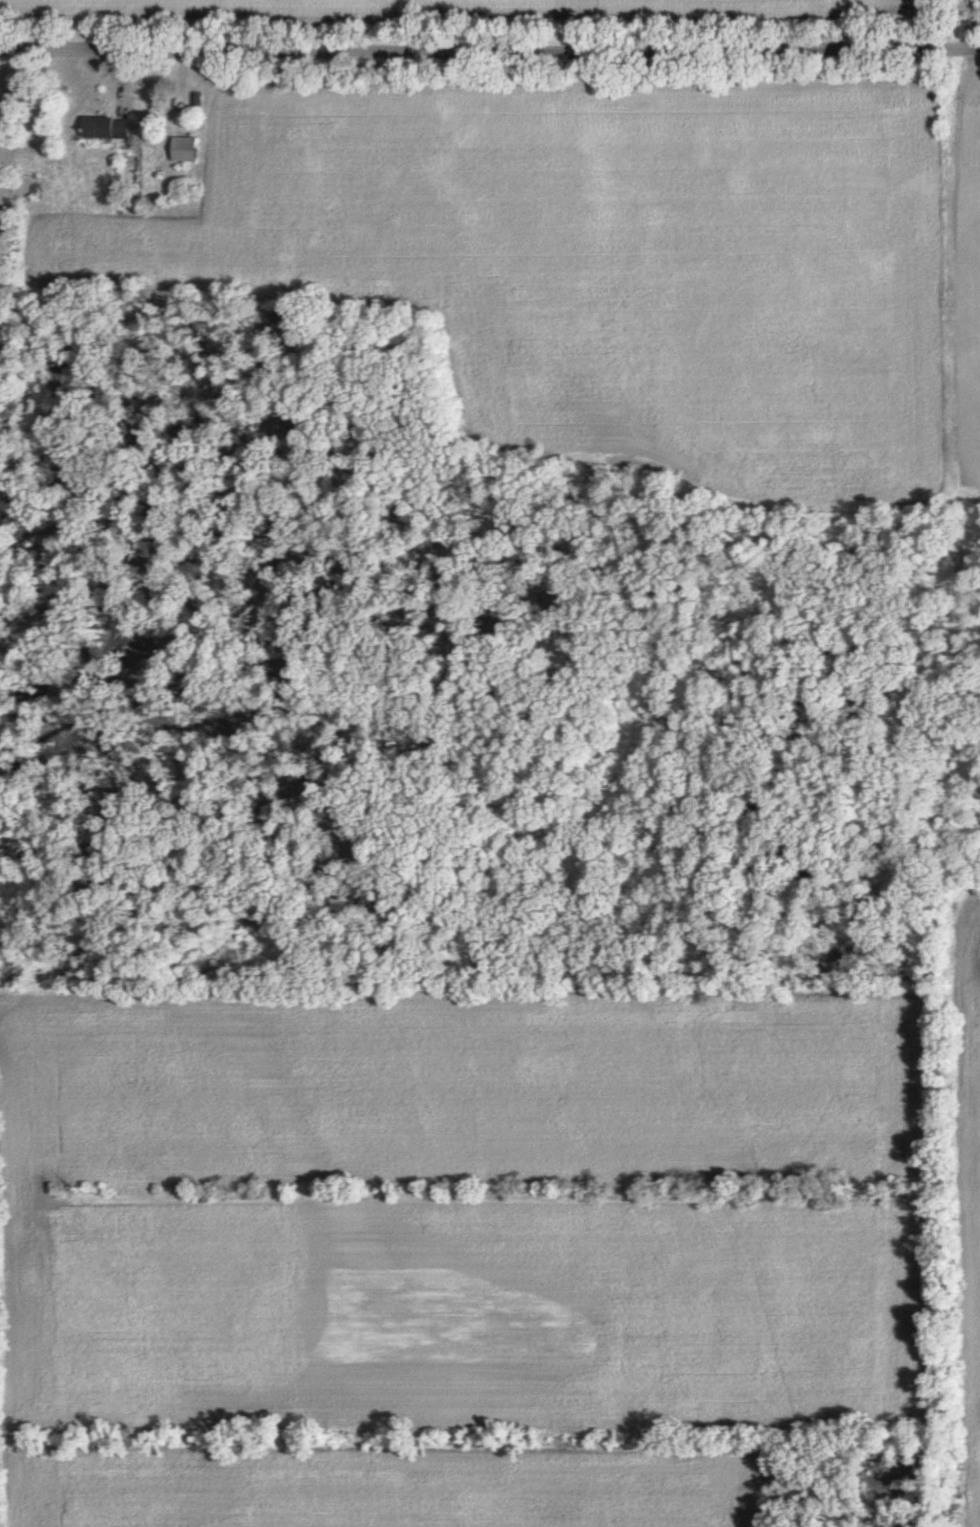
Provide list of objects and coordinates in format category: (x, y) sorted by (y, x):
road: (490, 48)
building: (104, 128)
building: (182, 148)

